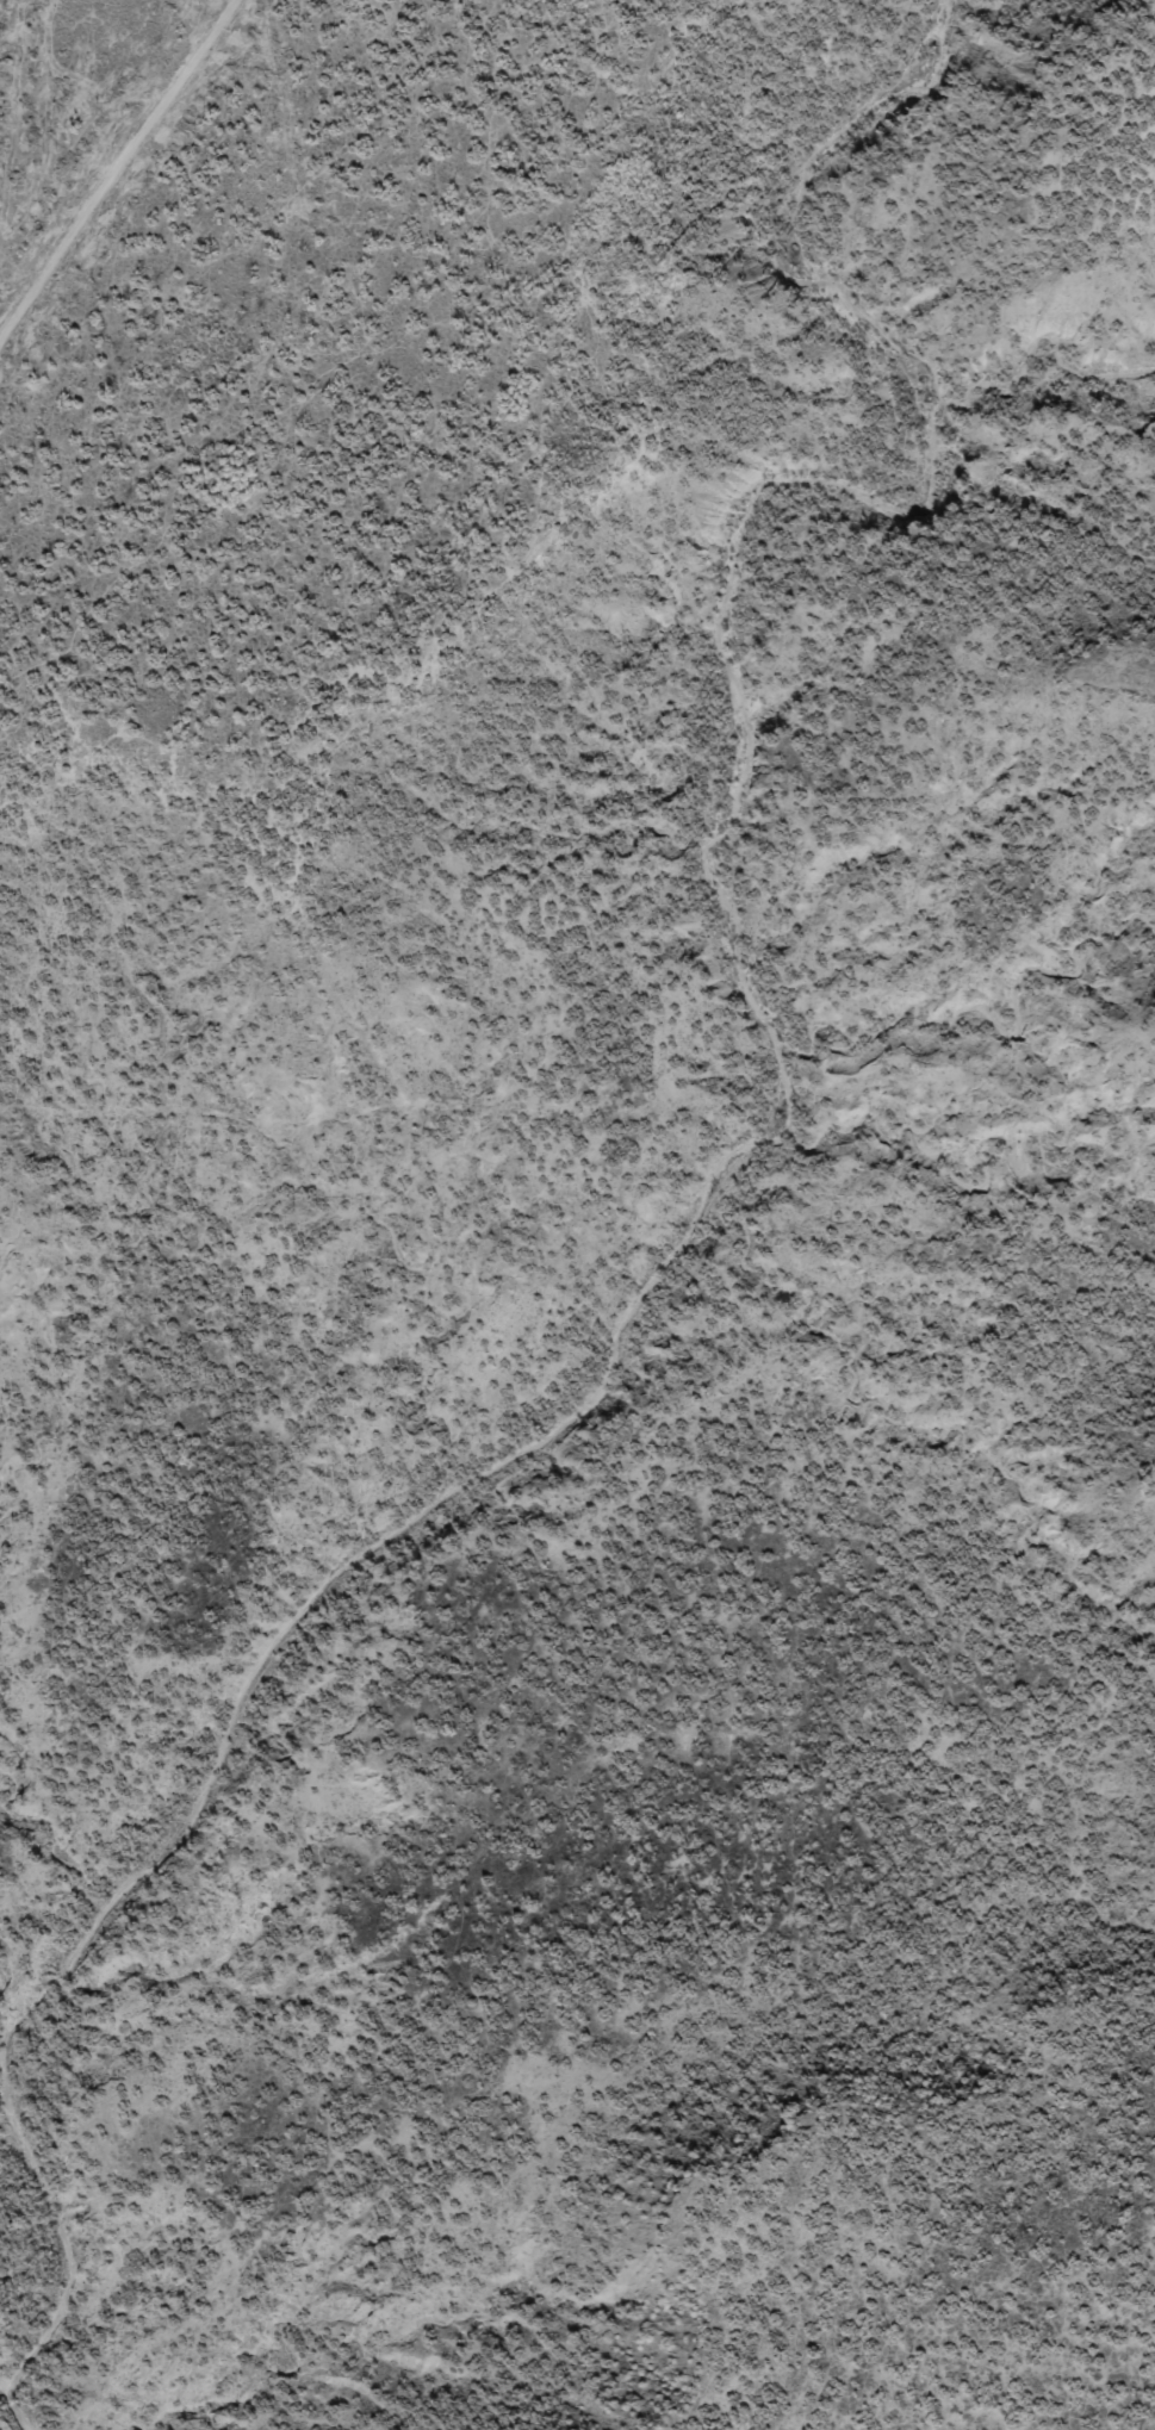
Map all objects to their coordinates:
road: (1145, 2415)

